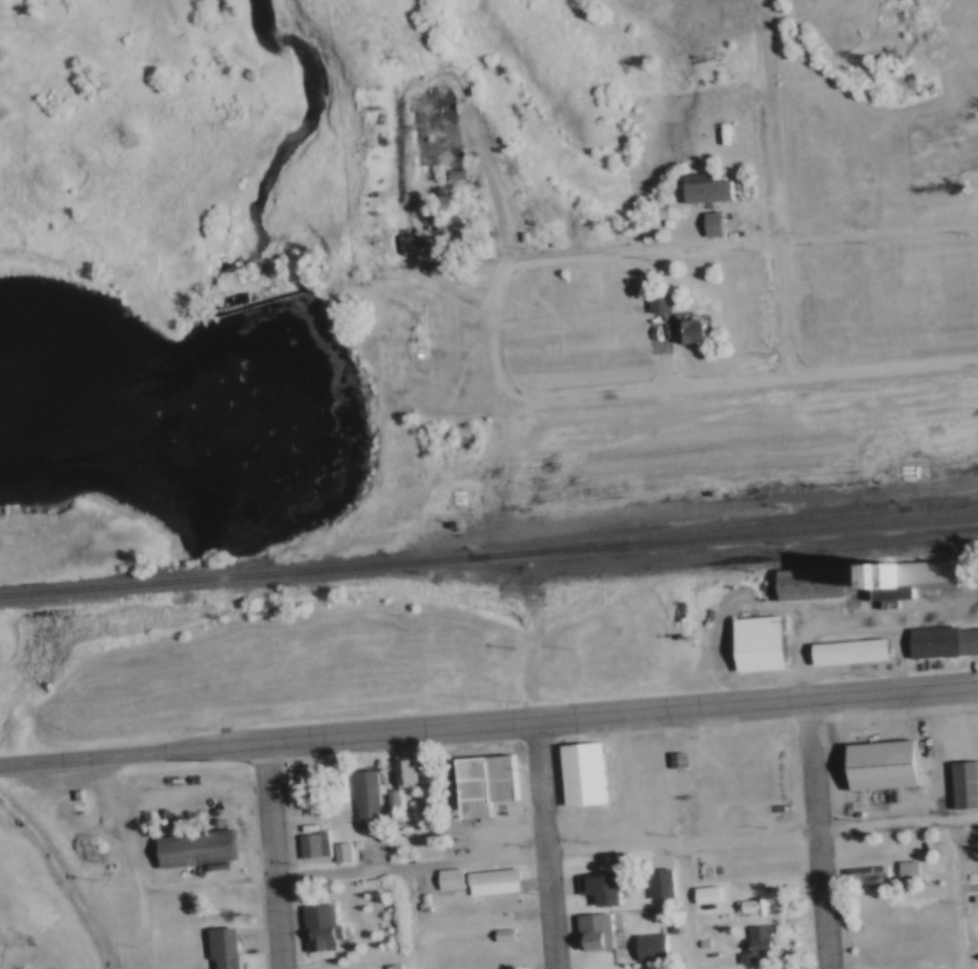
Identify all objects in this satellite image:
road: (781, 167)
building: (972, 171)
building: (459, 173)
building: (703, 191)
building: (707, 223)
road: (670, 248)
building: (653, 302)
dam: (243, 304)
road: (791, 307)
building: (685, 331)
road: (765, 378)
railway: (969, 501)
railway: (743, 520)
railway: (488, 554)
railway: (758, 567)
building: (928, 574)
building: (879, 581)
building: (804, 583)
building: (940, 641)
building: (754, 643)
building: (846, 651)
road: (488, 722)
building: (779, 750)
building: (672, 759)
building: (878, 765)
building: (400, 771)
building: (581, 777)
building: (337, 784)
building: (480, 785)
building: (962, 785)
building: (75, 796)
building: (388, 799)
building: (364, 800)
building: (213, 823)
silo: (213, 823)
building: (305, 829)
road: (821, 831)
building: (400, 833)
road: (548, 843)
building: (351, 844)
building: (310, 846)
building: (194, 849)
building: (337, 853)
road: (276, 855)
road: (550, 856)
road: (129, 862)
building: (901, 868)
building: (911, 869)
building: (858, 875)
building: (446, 878)
building: (488, 881)
building: (655, 884)
building: (597, 887)
building: (702, 892)
road: (960, 892)
building: (421, 899)
building: (751, 905)
road: (690, 906)
road: (415, 918)
building: (317, 929)
building: (589, 930)
building: (500, 933)
building: (698, 941)
building: (749, 943)
building: (646, 946)
building: (222, 948)
building: (492, 957)

